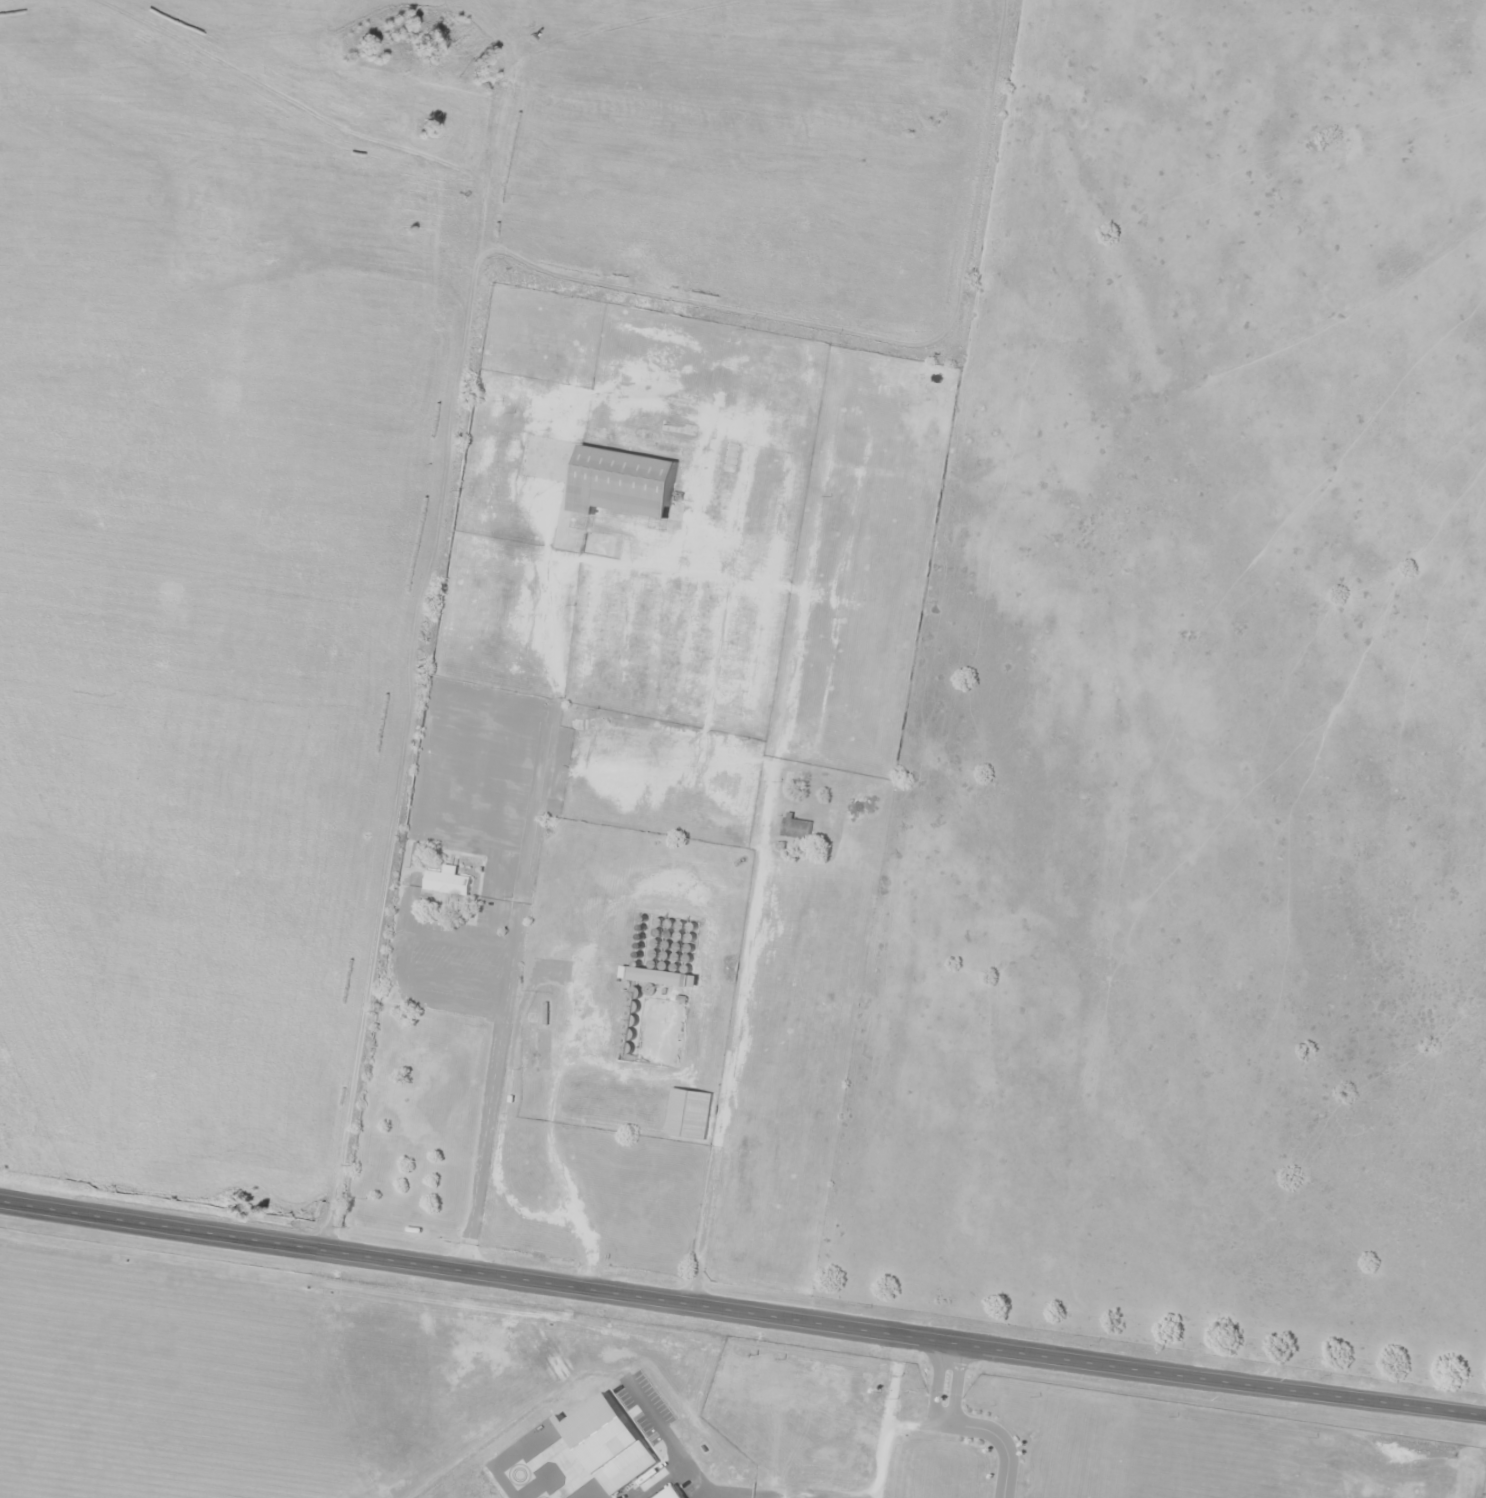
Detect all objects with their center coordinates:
building: (618, 482)
road: (411, 676)
building: (863, 822)
building: (793, 827)
building: (443, 880)
building: (661, 987)
road: (504, 988)
building: (528, 1049)
road: (729, 1058)
building: (578, 1108)
building: (686, 1113)
road: (742, 1312)
road: (933, 1383)
road: (956, 1386)
airport: (561, 1406)
road: (935, 1425)
road: (1000, 1443)
airport apron: (543, 1464)
building: (669, 1493)

